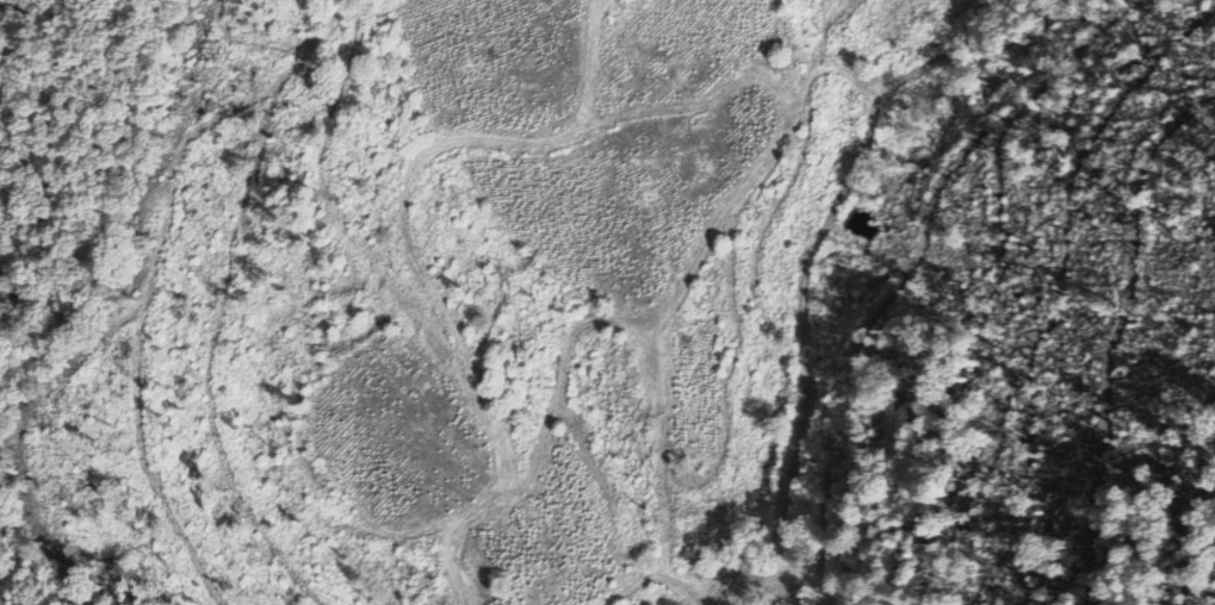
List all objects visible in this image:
road: (706, 601)
building: (637, 604)

